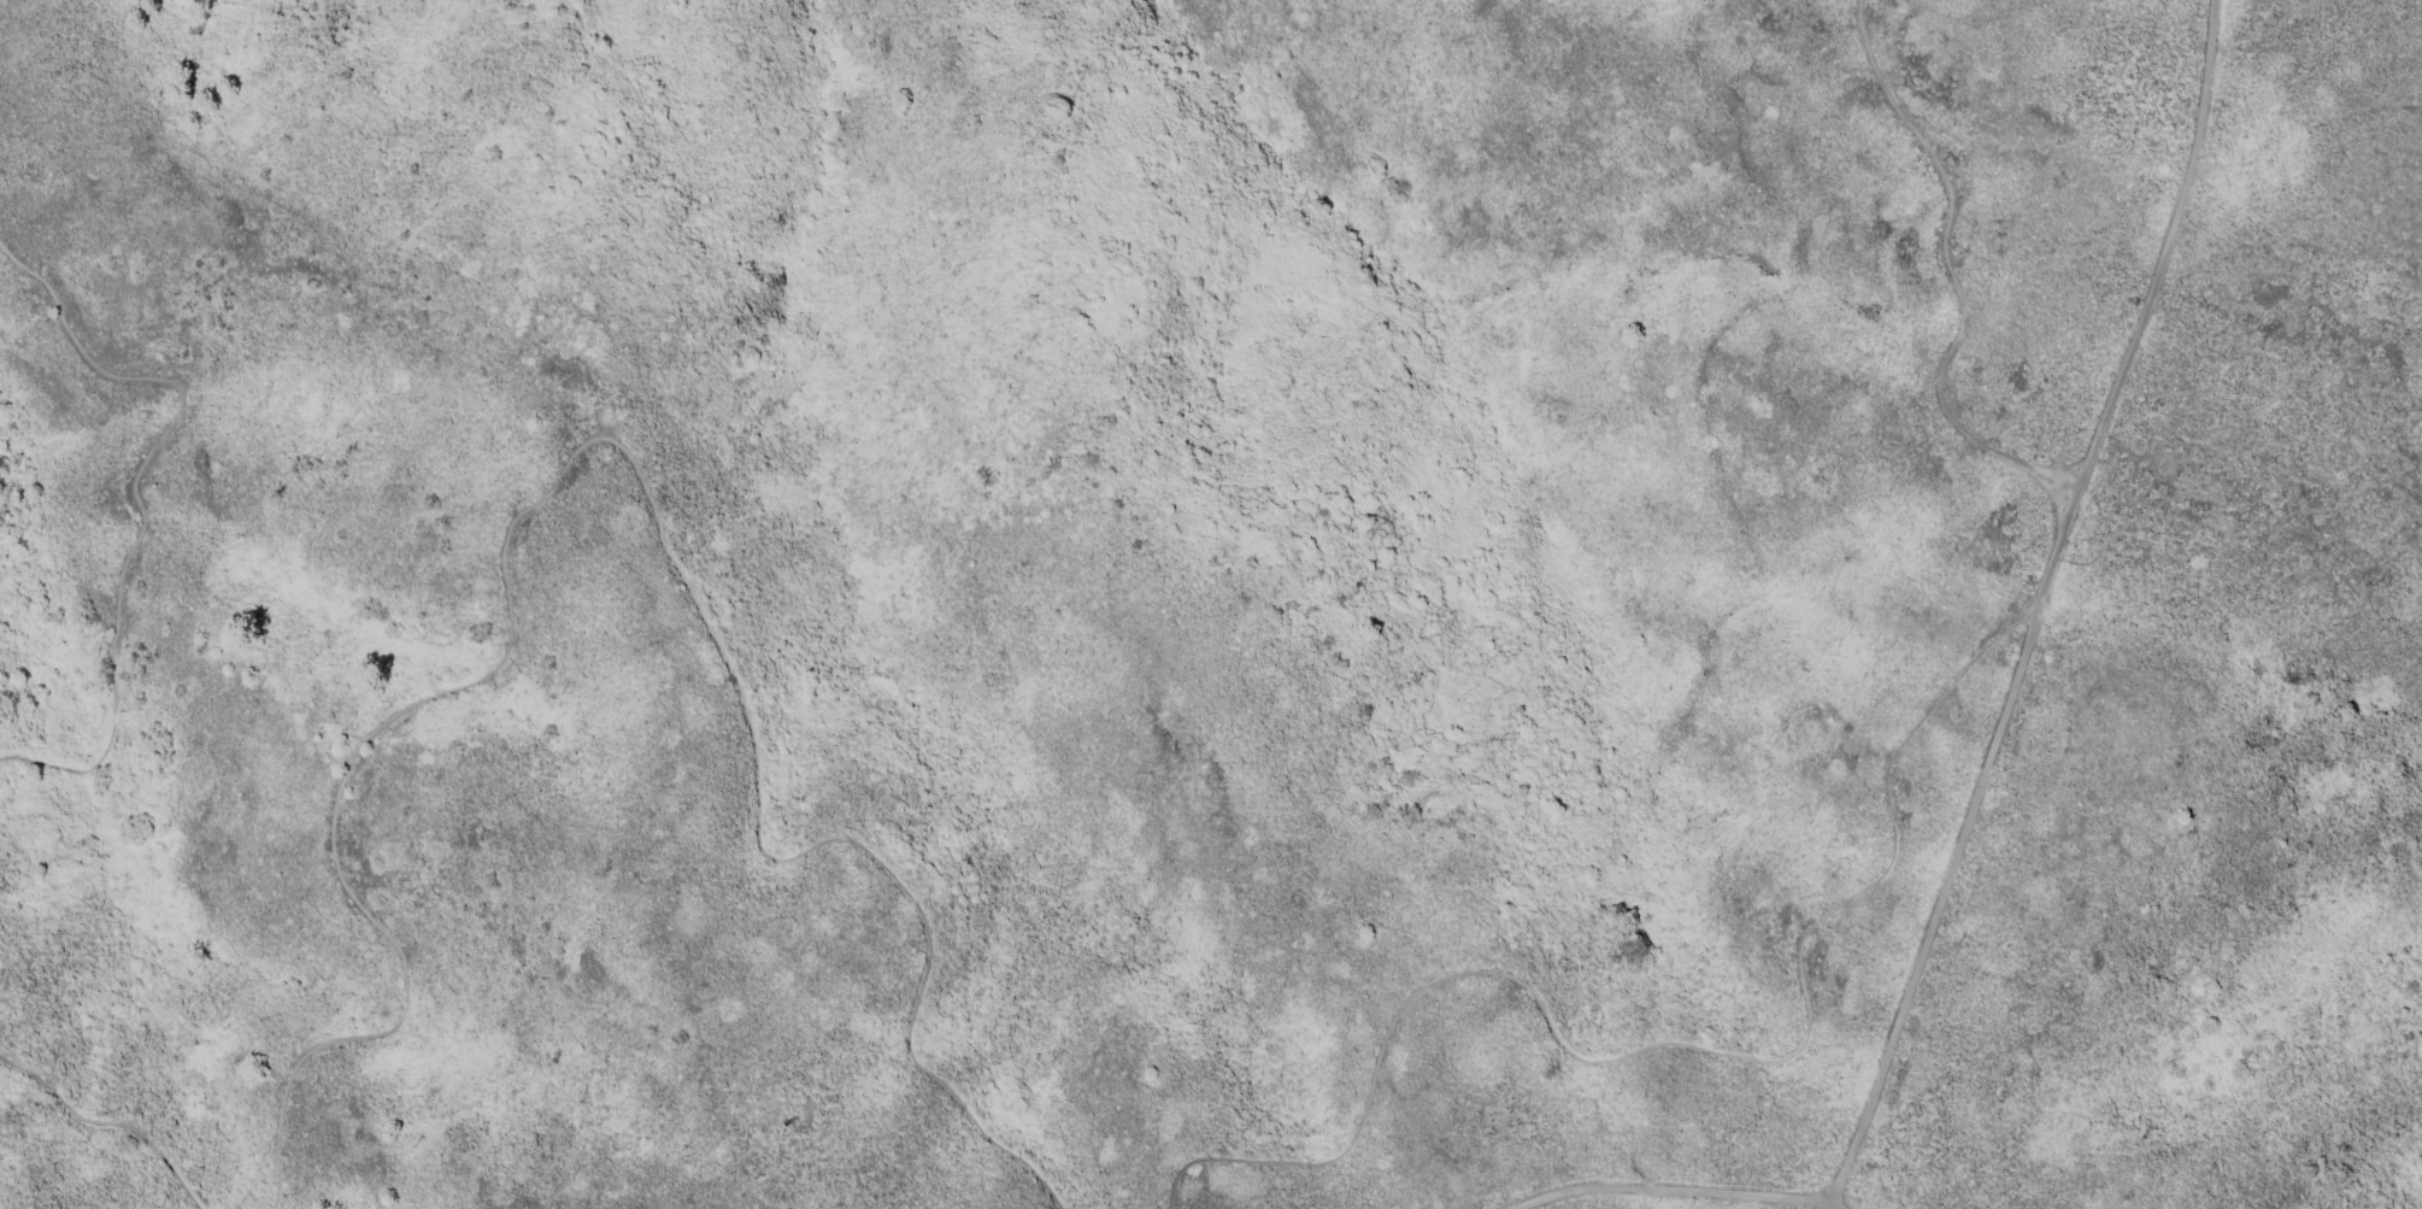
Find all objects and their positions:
road: (1947, 275)
road: (2139, 307)
road: (2232, 433)
road: (601, 439)
road: (136, 503)
road: (1938, 906)
road: (1663, 1043)
road: (107, 1123)
road: (1670, 1192)
road: (1834, 1205)

